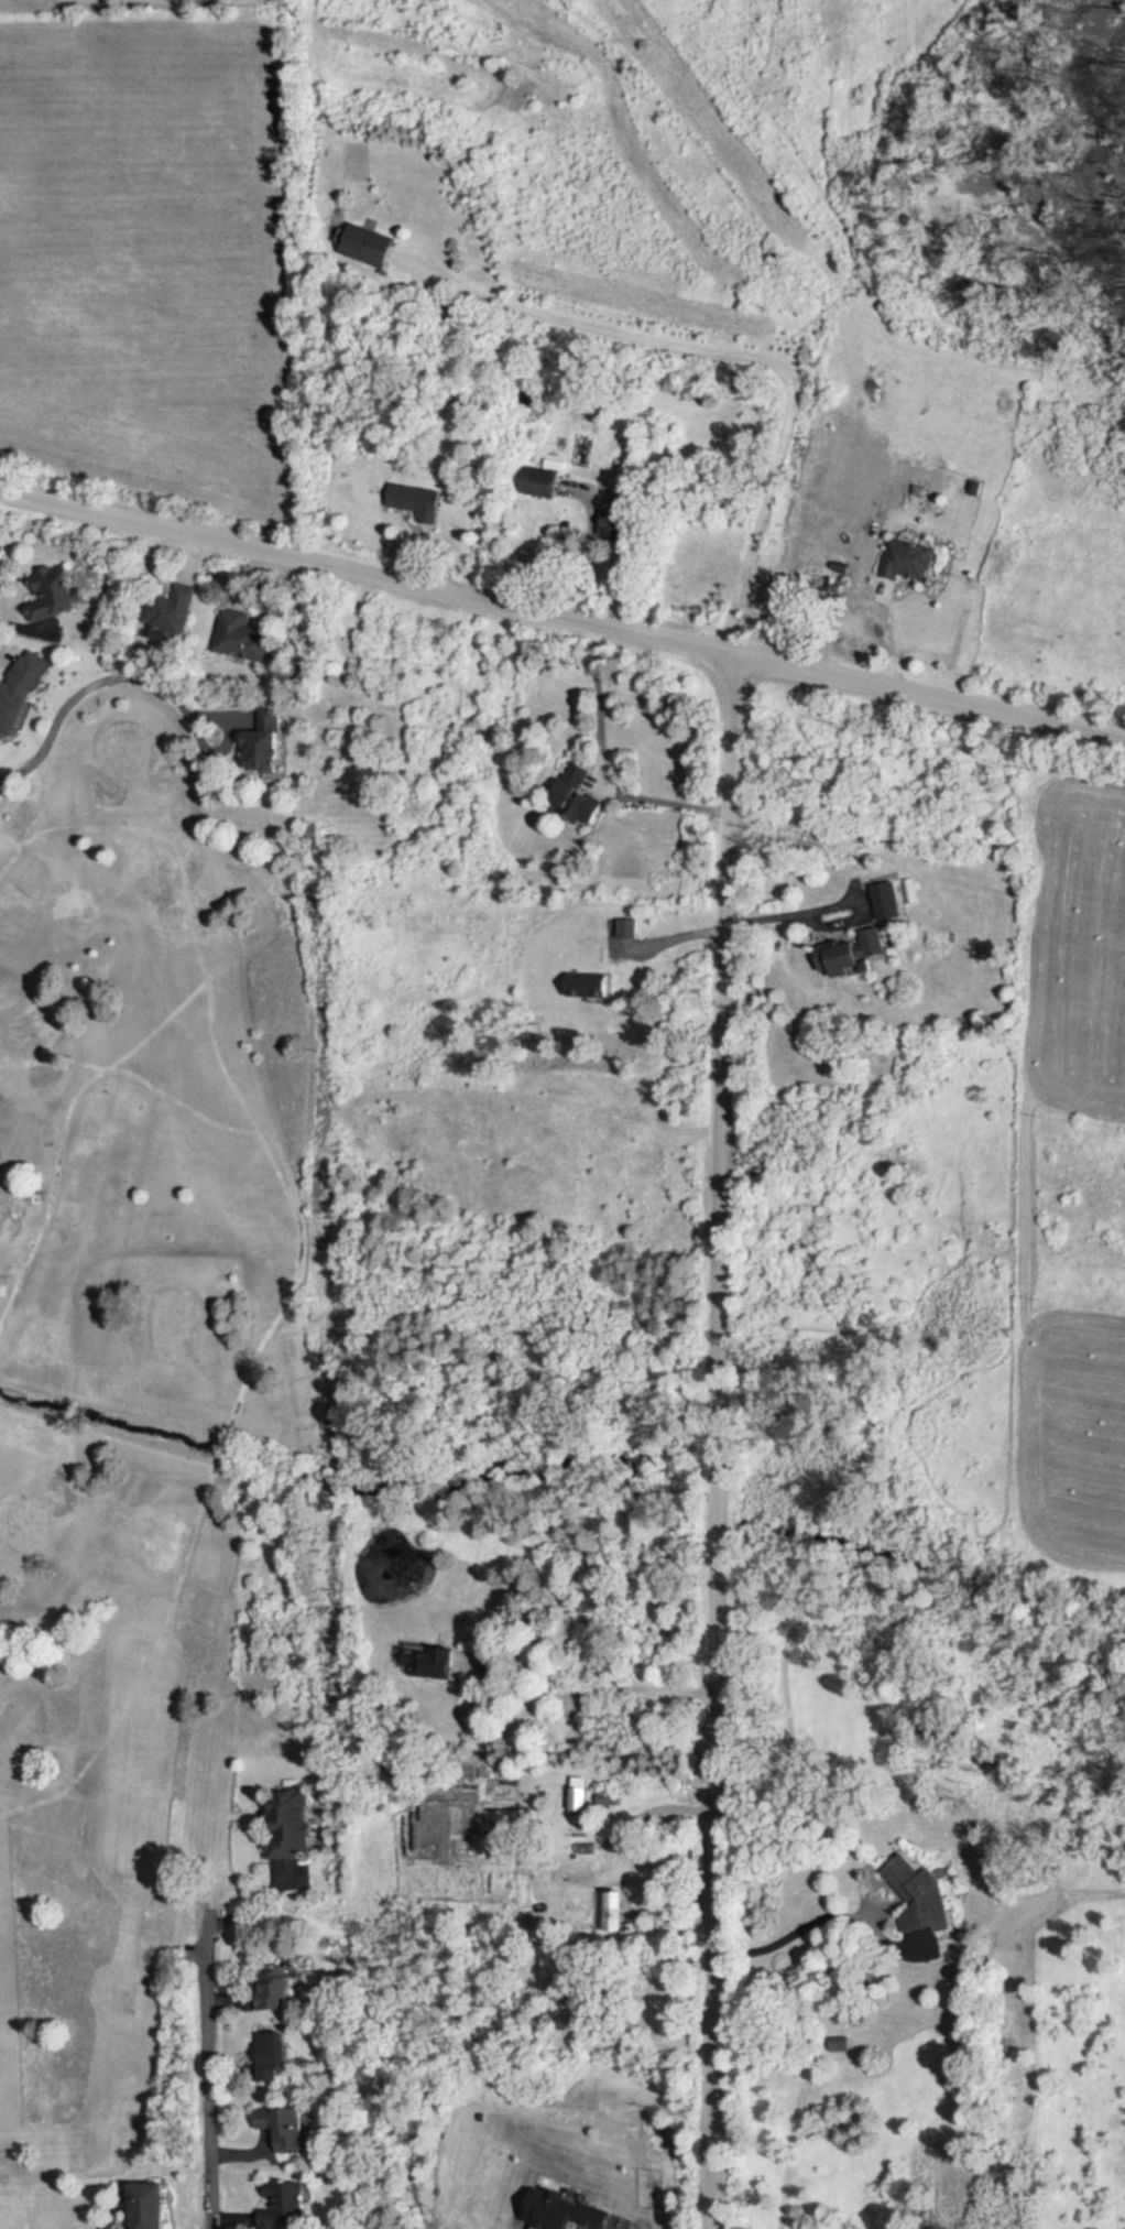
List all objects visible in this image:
building: (372, 248)
road: (733, 356)
building: (539, 487)
building: (418, 500)
building: (613, 518)
building: (2, 552)
road: (585, 559)
building: (904, 559)
building: (58, 592)
building: (168, 611)
road: (561, 618)
road: (887, 633)
building: (245, 638)
building: (18, 688)
road: (91, 688)
building: (272, 739)
road: (598, 769)
building: (580, 794)
road: (852, 890)
building: (883, 899)
road: (821, 925)
building: (629, 928)
road: (669, 944)
building: (847, 953)
building: (596, 986)
park: (138, 1399)
crop: (1071, 1433)
road: (721, 1442)
building: (426, 1660)
road: (572, 1692)
road: (656, 1804)
building: (294, 1827)
building: (915, 1895)
road: (826, 1916)
building: (274, 1989)
building: (837, 2043)
building: (275, 2052)
road: (214, 2067)
building: (290, 2128)
building: (156, 2206)
building: (278, 2206)

